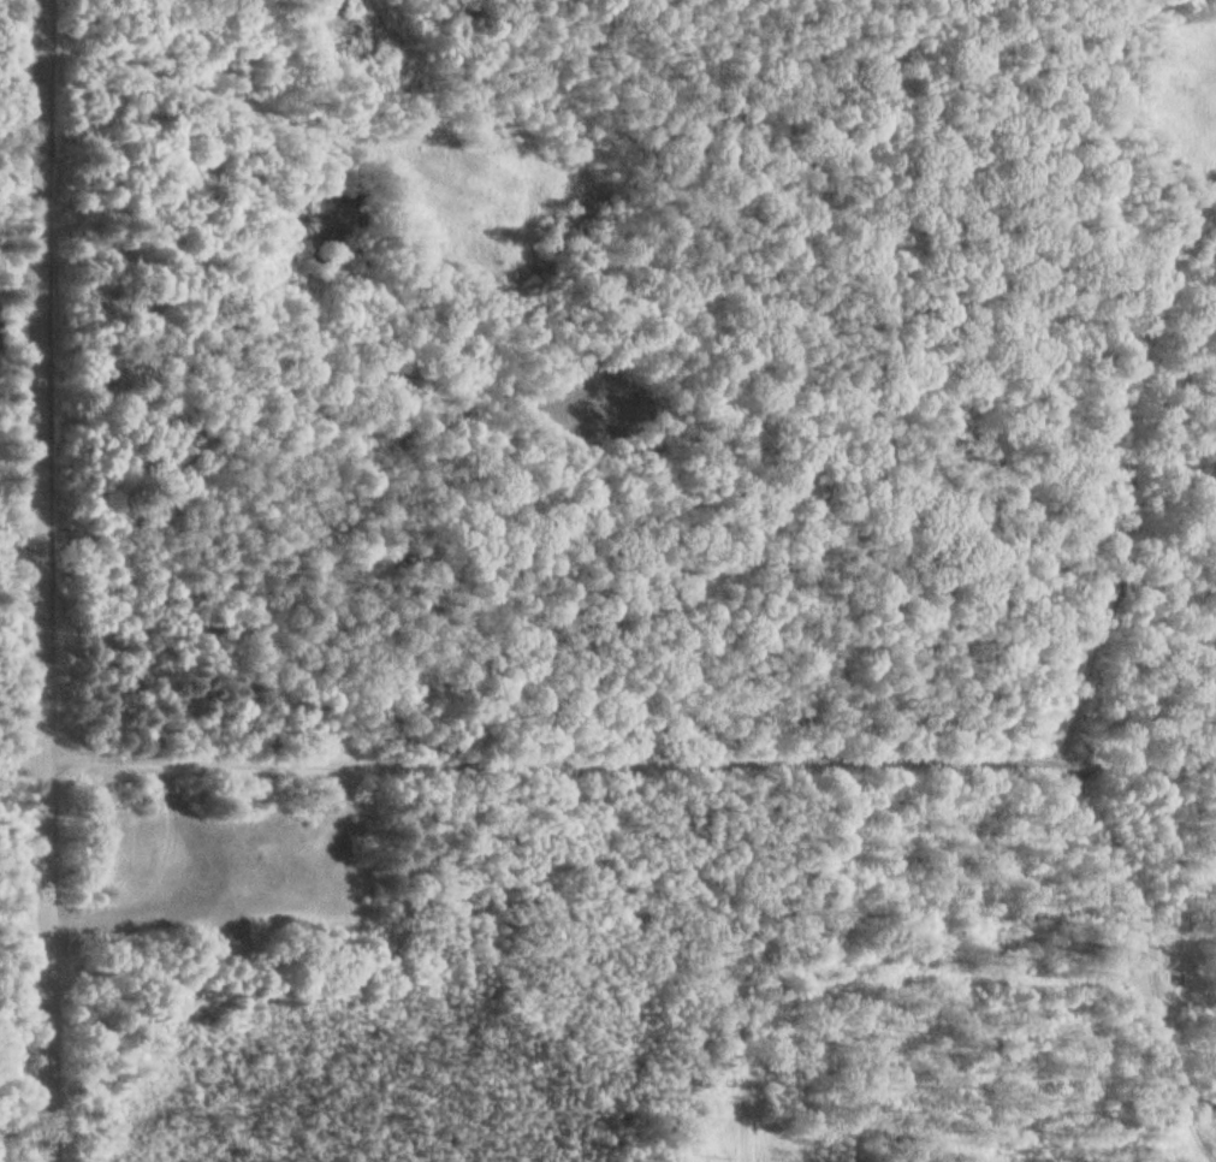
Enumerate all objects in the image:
road: (46, 580)
road: (630, 757)
road: (23, 759)

